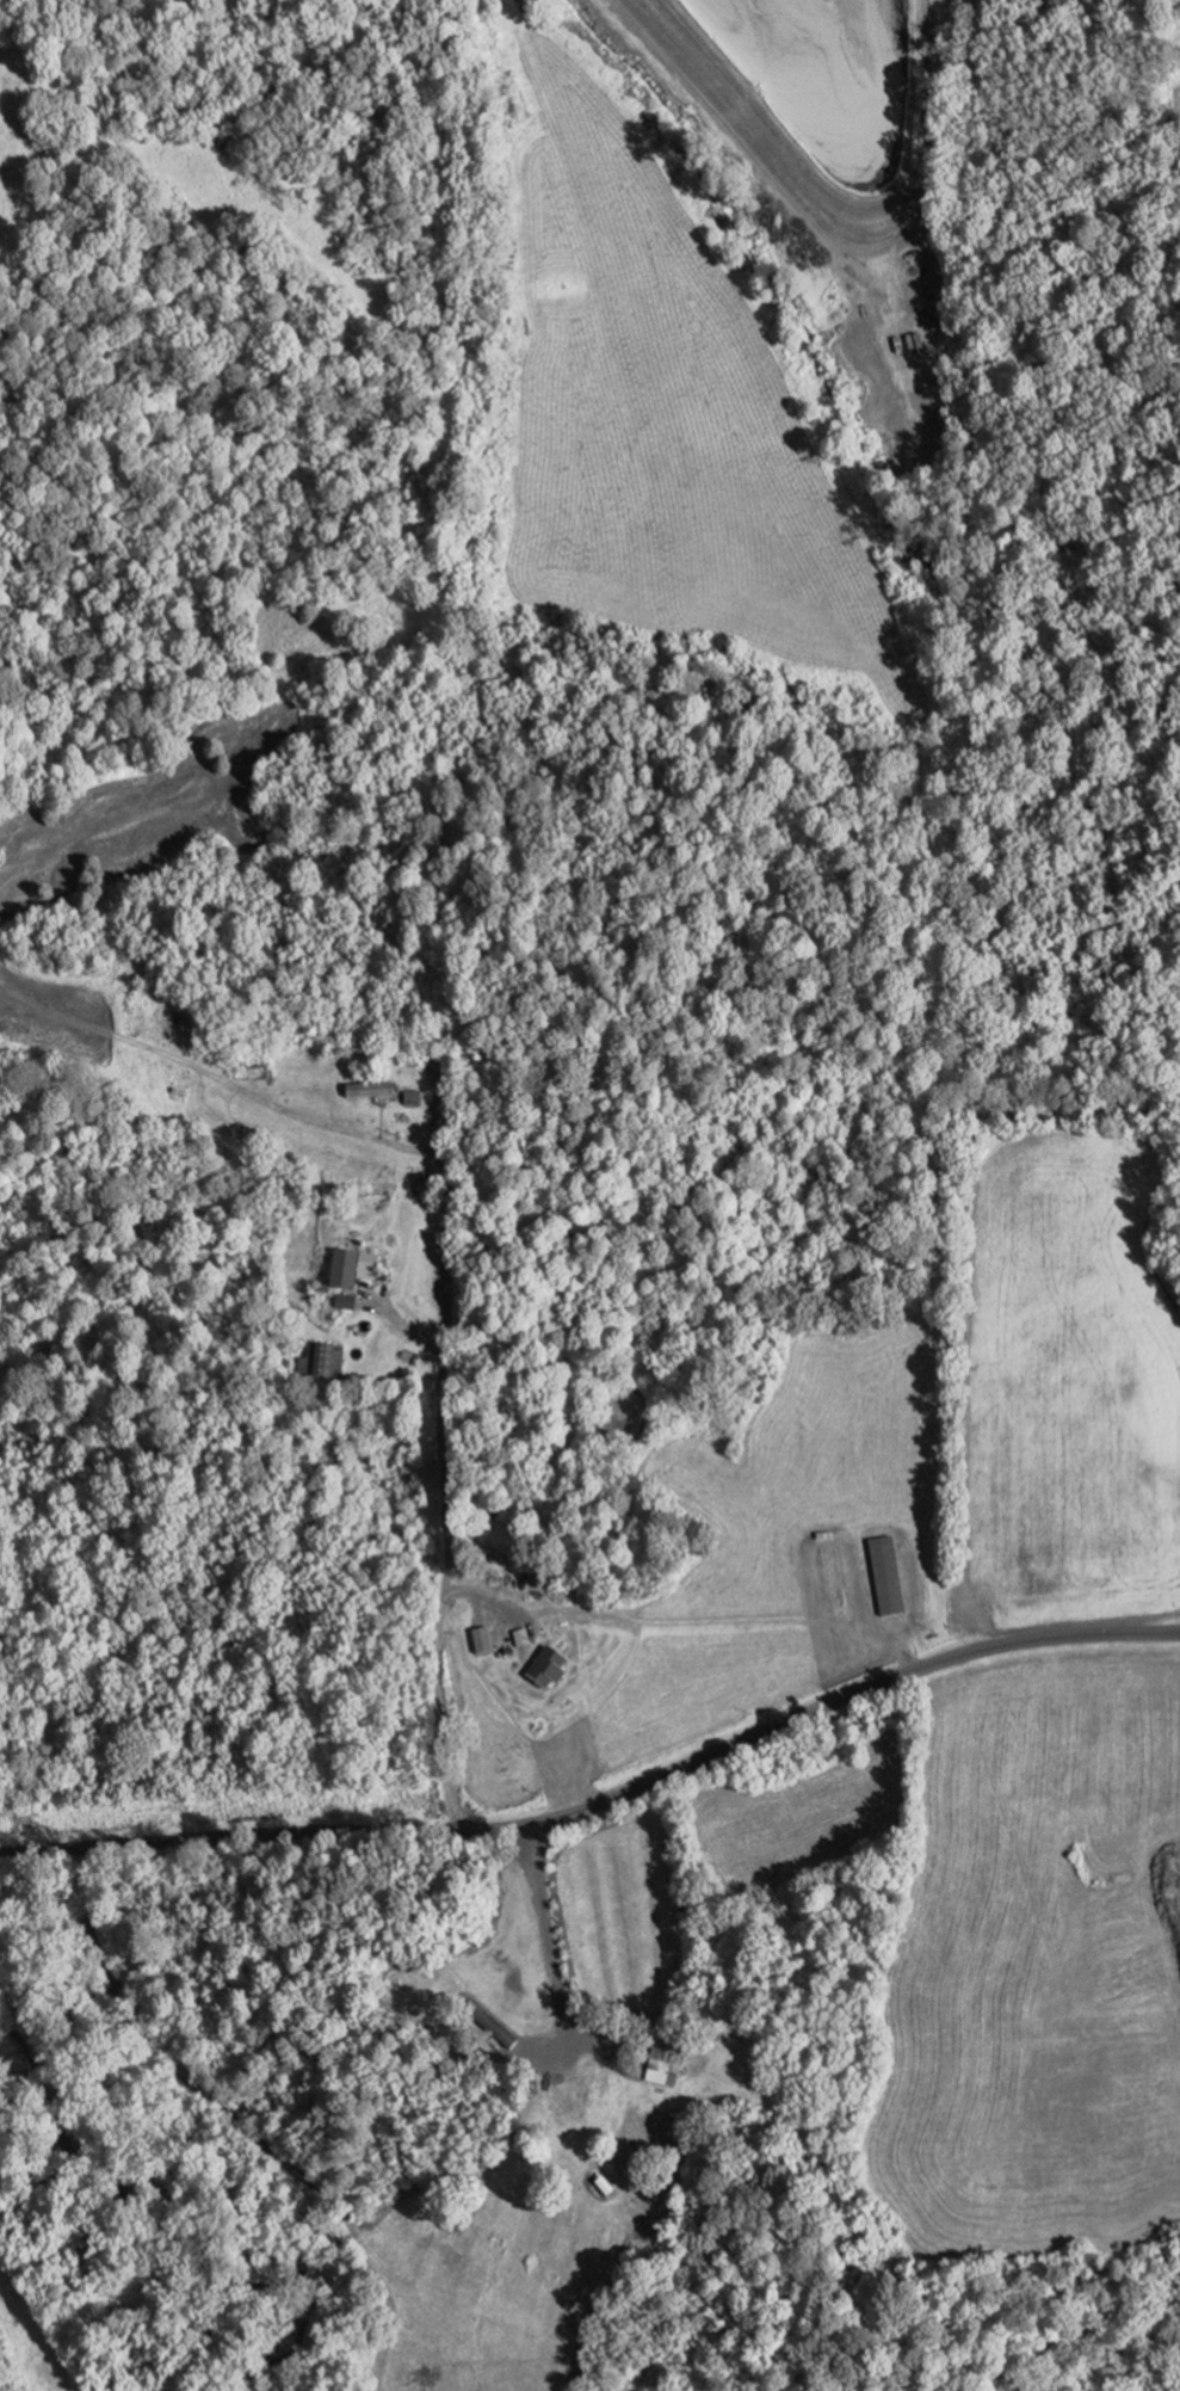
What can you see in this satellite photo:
road: (740, 137)
building: (441, 1071)
building: (375, 1095)
building: (416, 1098)
building: (369, 1264)
building: (340, 1272)
road: (400, 1326)
building: (317, 1364)
road: (441, 1506)
road: (858, 1533)
building: (884, 1579)
road: (494, 1601)
building: (552, 1639)
building: (495, 1669)
building: (542, 1671)
road: (603, 1804)
road: (543, 1915)
road: (548, 2044)
building: (659, 2064)
building: (556, 2108)
road: (33, 2340)

